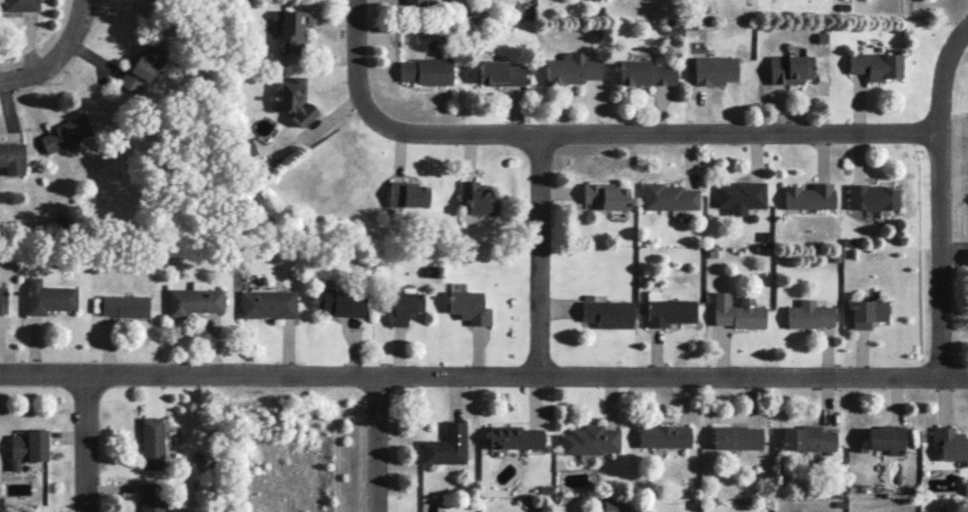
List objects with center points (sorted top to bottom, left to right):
building: (414, 1)
building: (21, 5)
road: (76, 21)
building: (293, 29)
road: (360, 59)
building: (877, 65)
building: (143, 66)
building: (571, 68)
building: (791, 68)
road: (38, 69)
building: (714, 69)
building: (424, 70)
building: (499, 73)
building: (645, 73)
building: (294, 99)
road: (659, 130)
building: (65, 134)
building: (246, 147)
building: (12, 157)
building: (407, 194)
building: (606, 195)
building: (740, 196)
building: (810, 196)
building: (478, 197)
building: (873, 197)
building: (670, 198)
road: (946, 200)
road: (547, 251)
building: (967, 256)
building: (48, 297)
building: (3, 299)
building: (194, 299)
building: (339, 301)
building: (267, 303)
building: (124, 305)
building: (405, 306)
building: (470, 307)
building: (668, 310)
building: (737, 311)
building: (867, 312)
building: (608, 313)
building: (809, 314)
road: (484, 370)
building: (664, 435)
building: (516, 437)
building: (737, 437)
building: (808, 438)
building: (885, 438)
building: (591, 439)
building: (152, 442)
road: (385, 442)
road: (91, 443)
building: (950, 443)
building: (446, 445)
building: (28, 446)
building: (965, 485)
building: (152, 496)

